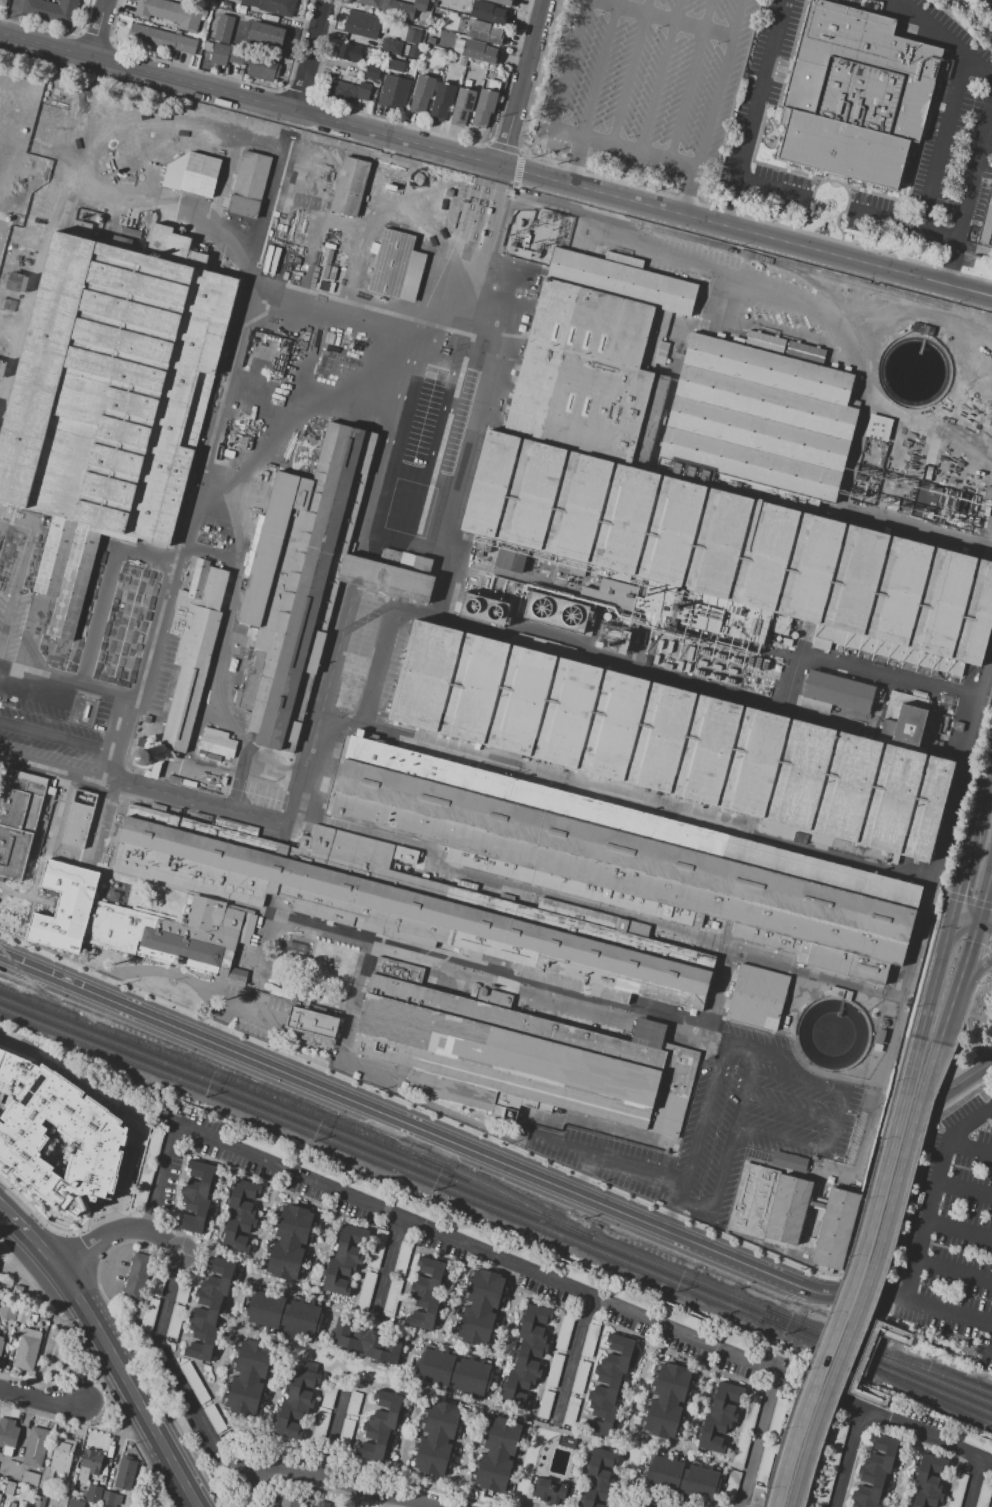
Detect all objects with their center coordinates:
building: (501, 2)
building: (2, 3)
building: (226, 5)
building: (275, 6)
building: (397, 7)
building: (52, 12)
building: (489, 12)
building: (171, 13)
building: (271, 18)
road: (662, 20)
building: (362, 24)
road: (96, 28)
building: (224, 29)
building: (482, 31)
building: (266, 34)
building: (412, 36)
building: (164, 38)
road: (944, 40)
building: (431, 41)
building: (390, 46)
building: (475, 50)
building: (414, 51)
building: (348, 52)
road: (308, 55)
building: (246, 61)
building: (463, 61)
building: (394, 66)
road: (602, 68)
road: (147, 72)
building: (373, 72)
road: (633, 73)
road: (663, 76)
road: (568, 79)
road: (692, 80)
road: (523, 83)
road: (721, 84)
building: (364, 90)
building: (342, 91)
building: (394, 92)
building: (423, 93)
building: (855, 94)
building: (442, 100)
building: (463, 105)
building: (484, 107)
road: (756, 112)
road: (942, 144)
road: (987, 146)
railway: (182, 147)
road: (529, 150)
road: (642, 152)
road: (579, 161)
railway: (74, 169)
building: (193, 174)
building: (249, 184)
railway: (410, 185)
building: (350, 186)
road: (692, 191)
road: (772, 191)
road: (969, 198)
road: (474, 203)
road: (643, 203)
road: (484, 204)
road: (496, 209)
railway: (587, 212)
building: (986, 225)
road: (904, 226)
power substation: (537, 233)
railway: (355, 252)
building: (398, 267)
road: (719, 271)
building: (14, 281)
railway: (445, 312)
road: (460, 319)
railway: (961, 320)
railway: (356, 322)
building: (804, 351)
railway: (18, 354)
railway: (866, 364)
building: (3, 367)
railway: (500, 375)
building: (110, 399)
road: (453, 424)
building: (878, 427)
railway: (482, 432)
railway: (384, 437)
building: (405, 471)
building: (704, 471)
railway: (255, 511)
railway: (7, 533)
building: (512, 558)
railway: (824, 572)
road: (21, 577)
road: (173, 578)
building: (308, 580)
building: (611, 593)
building: (483, 609)
building: (194, 646)
railway: (792, 668)
road: (372, 683)
road: (69, 693)
building: (908, 709)
road: (62, 738)
building: (671, 741)
building: (224, 744)
building: (142, 758)
railway: (765, 765)
road: (225, 770)
railway: (937, 789)
road: (985, 799)
building: (80, 819)
building: (17, 822)
railway: (944, 822)
road: (265, 824)
railway: (747, 828)
building: (632, 859)
road: (966, 867)
railway: (735, 880)
road: (985, 890)
building: (413, 905)
building: (65, 906)
traffic signals: (954, 913)
road: (965, 915)
traffic signals: (977, 918)
road: (984, 920)
building: (177, 935)
road: (262, 943)
road: (967, 948)
road: (973, 966)
railway: (719, 968)
railway: (20, 971)
road: (499, 974)
road: (936, 975)
road: (187, 981)
building: (757, 997)
road: (353, 998)
road: (252, 1002)
road: (948, 1011)
road: (221, 1023)
building: (857, 1024)
building: (314, 1027)
road: (743, 1047)
building: (520, 1055)
road: (809, 1091)
railway: (298, 1106)
road: (116, 1113)
road: (780, 1123)
road: (971, 1126)
road: (435, 1132)
road: (700, 1134)
building: (95, 1135)
building: (259, 1144)
building: (155, 1145)
road: (972, 1146)
road: (902, 1153)
railway: (391, 1155)
road: (596, 1155)
railway: (389, 1164)
road: (589, 1174)
building: (339, 1176)
road: (722, 1177)
building: (144, 1185)
road: (966, 1190)
building: (197, 1196)
road: (220, 1197)
building: (792, 1207)
road: (872, 1209)
road: (266, 1213)
building: (240, 1214)
road: (679, 1217)
road: (888, 1218)
road: (930, 1221)
road: (961, 1230)
building: (469, 1231)
road: (117, 1232)
parking lot: (951, 1234)
building: (290, 1241)
road: (322, 1241)
building: (377, 1248)
building: (402, 1259)
building: (344, 1260)
road: (386, 1265)
road: (532, 1271)
road: (955, 1272)
building: (580, 1276)
building: (138, 1280)
street lamp: (921, 1283)
building: (157, 1285)
building: (184, 1289)
building: (366, 1290)
building: (18, 1291)
building: (428, 1292)
road: (454, 1293)
building: (630, 1297)
road: (188, 1298)
building: (392, 1298)
street lamp: (979, 1298)
road: (927, 1306)
building: (481, 1307)
building: (209, 1308)
road: (880, 1312)
building: (15, 1313)
building: (285, 1313)
road: (373, 1313)
building: (150, 1314)
building: (45, 1317)
building: (684, 1319)
building: (175, 1321)
road: (324, 1330)
building: (565, 1330)
building: (891, 1332)
road: (909, 1334)
road: (505, 1337)
building: (729, 1339)
building: (590, 1340)
building: (368, 1341)
building: (1, 1343)
building: (13, 1345)
building: (530, 1348)
road: (108, 1349)
building: (28, 1350)
road: (863, 1353)
building: (767, 1355)
railway: (886, 1355)
road: (570, 1359)
road: (411, 1360)
railway: (886, 1360)
road: (196, 1365)
building: (554, 1370)
railway: (884, 1370)
road: (94, 1371)
building: (454, 1372)
road: (179, 1374)
railway: (884, 1375)
building: (249, 1376)
building: (580, 1377)
road: (360, 1380)
building: (194, 1382)
road: (29, 1383)
building: (609, 1383)
road: (346, 1384)
road: (845, 1385)
road: (213, 1393)
building: (867, 1394)
building: (328, 1396)
road: (44, 1401)
building: (667, 1401)
road: (701, 1401)
road: (880, 1401)
building: (297, 1402)
building: (354, 1403)
building: (546, 1403)
road: (634, 1406)
road: (269, 1408)
building: (571, 1411)
road: (110, 1412)
building: (750, 1413)
road: (42, 1415)
building: (214, 1418)
building: (719, 1418)
building: (321, 1425)
building: (381, 1427)
road: (98, 1430)
building: (346, 1431)
building: (8, 1435)
road: (330, 1435)
road: (403, 1439)
building: (437, 1439)
road: (757, 1440)
road: (789, 1440)
building: (836, 1443)
road: (775, 1444)
building: (35, 1447)
road: (807, 1448)
building: (741, 1450)
road: (815, 1452)
building: (62, 1455)
building: (498, 1455)
road: (698, 1456)
road: (468, 1457)
road: (847, 1458)
road: (520, 1462)
building: (89, 1464)
road: (906, 1470)
road: (577, 1471)
building: (876, 1472)
building: (125, 1473)
building: (104, 1474)
building: (683, 1476)
building: (598, 1478)
building: (30, 1479)
building: (929, 1481)
building: (46, 1482)
building: (732, 1482)
road: (347, 1483)
road: (973, 1483)
building: (10, 1489)
building: (956, 1490)
building: (551, 1491)
building: (94, 1494)
building: (983, 1494)
road: (646, 1496)
building: (41, 1499)
building: (63, 1499)
building: (111, 1499)
building: (290, 1499)
building: (75, 1503)
building: (322, 1504)
building: (12, 1505)
building: (89, 1505)
building: (629, 1505)
building: (98, 1506)
building: (311, 1506)
building: (624, 1506)

